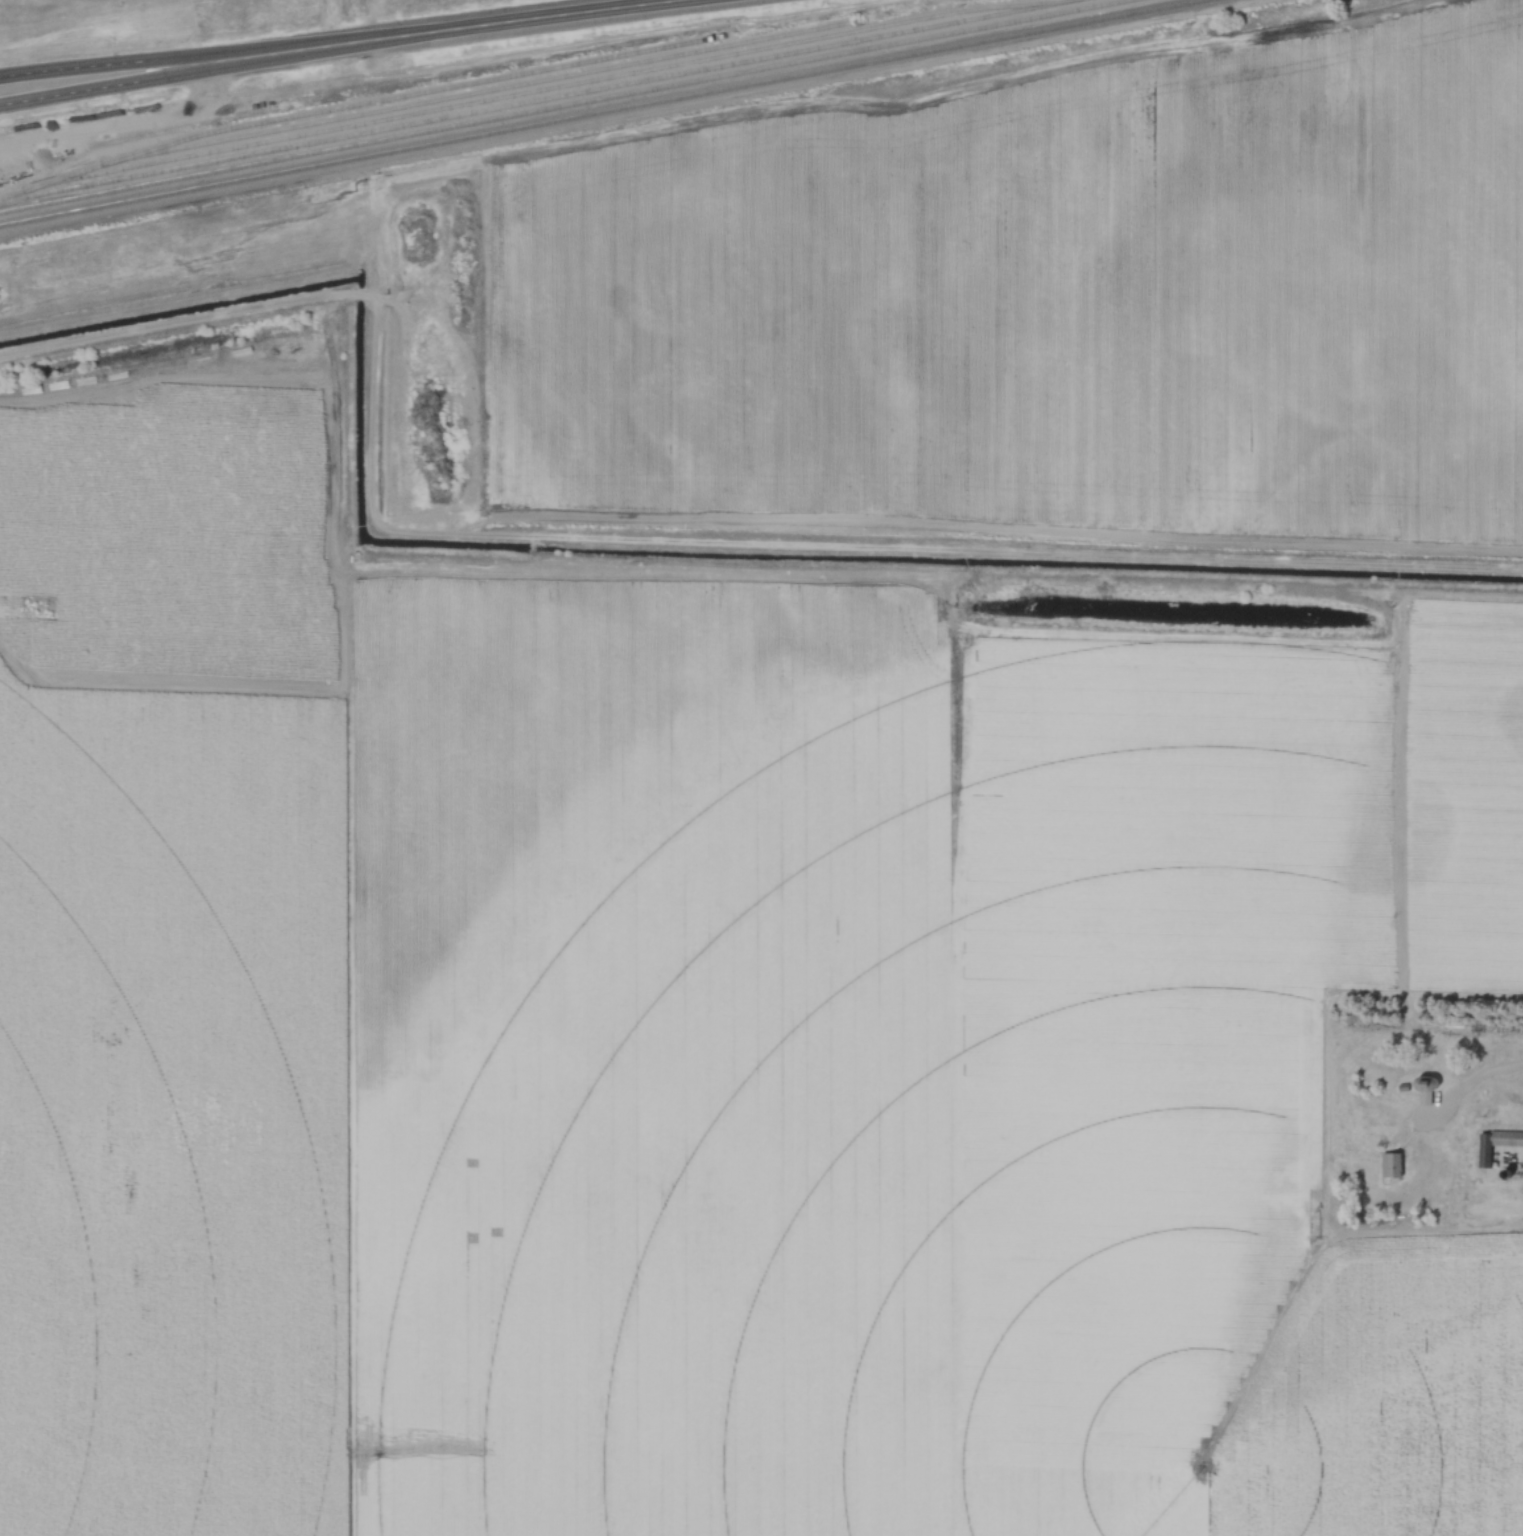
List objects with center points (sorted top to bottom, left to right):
road: (454, 29)
road: (108, 65)
railway: (524, 89)
road: (110, 91)
railway: (414, 91)
railway: (436, 97)
railway: (531, 99)
railway: (562, 105)
railway: (592, 111)
crop: (1045, 295)
building: (30, 391)
crop: (177, 531)
crop: (1461, 799)
building: (1425, 1083)
building: (1495, 1149)
building: (1391, 1166)

